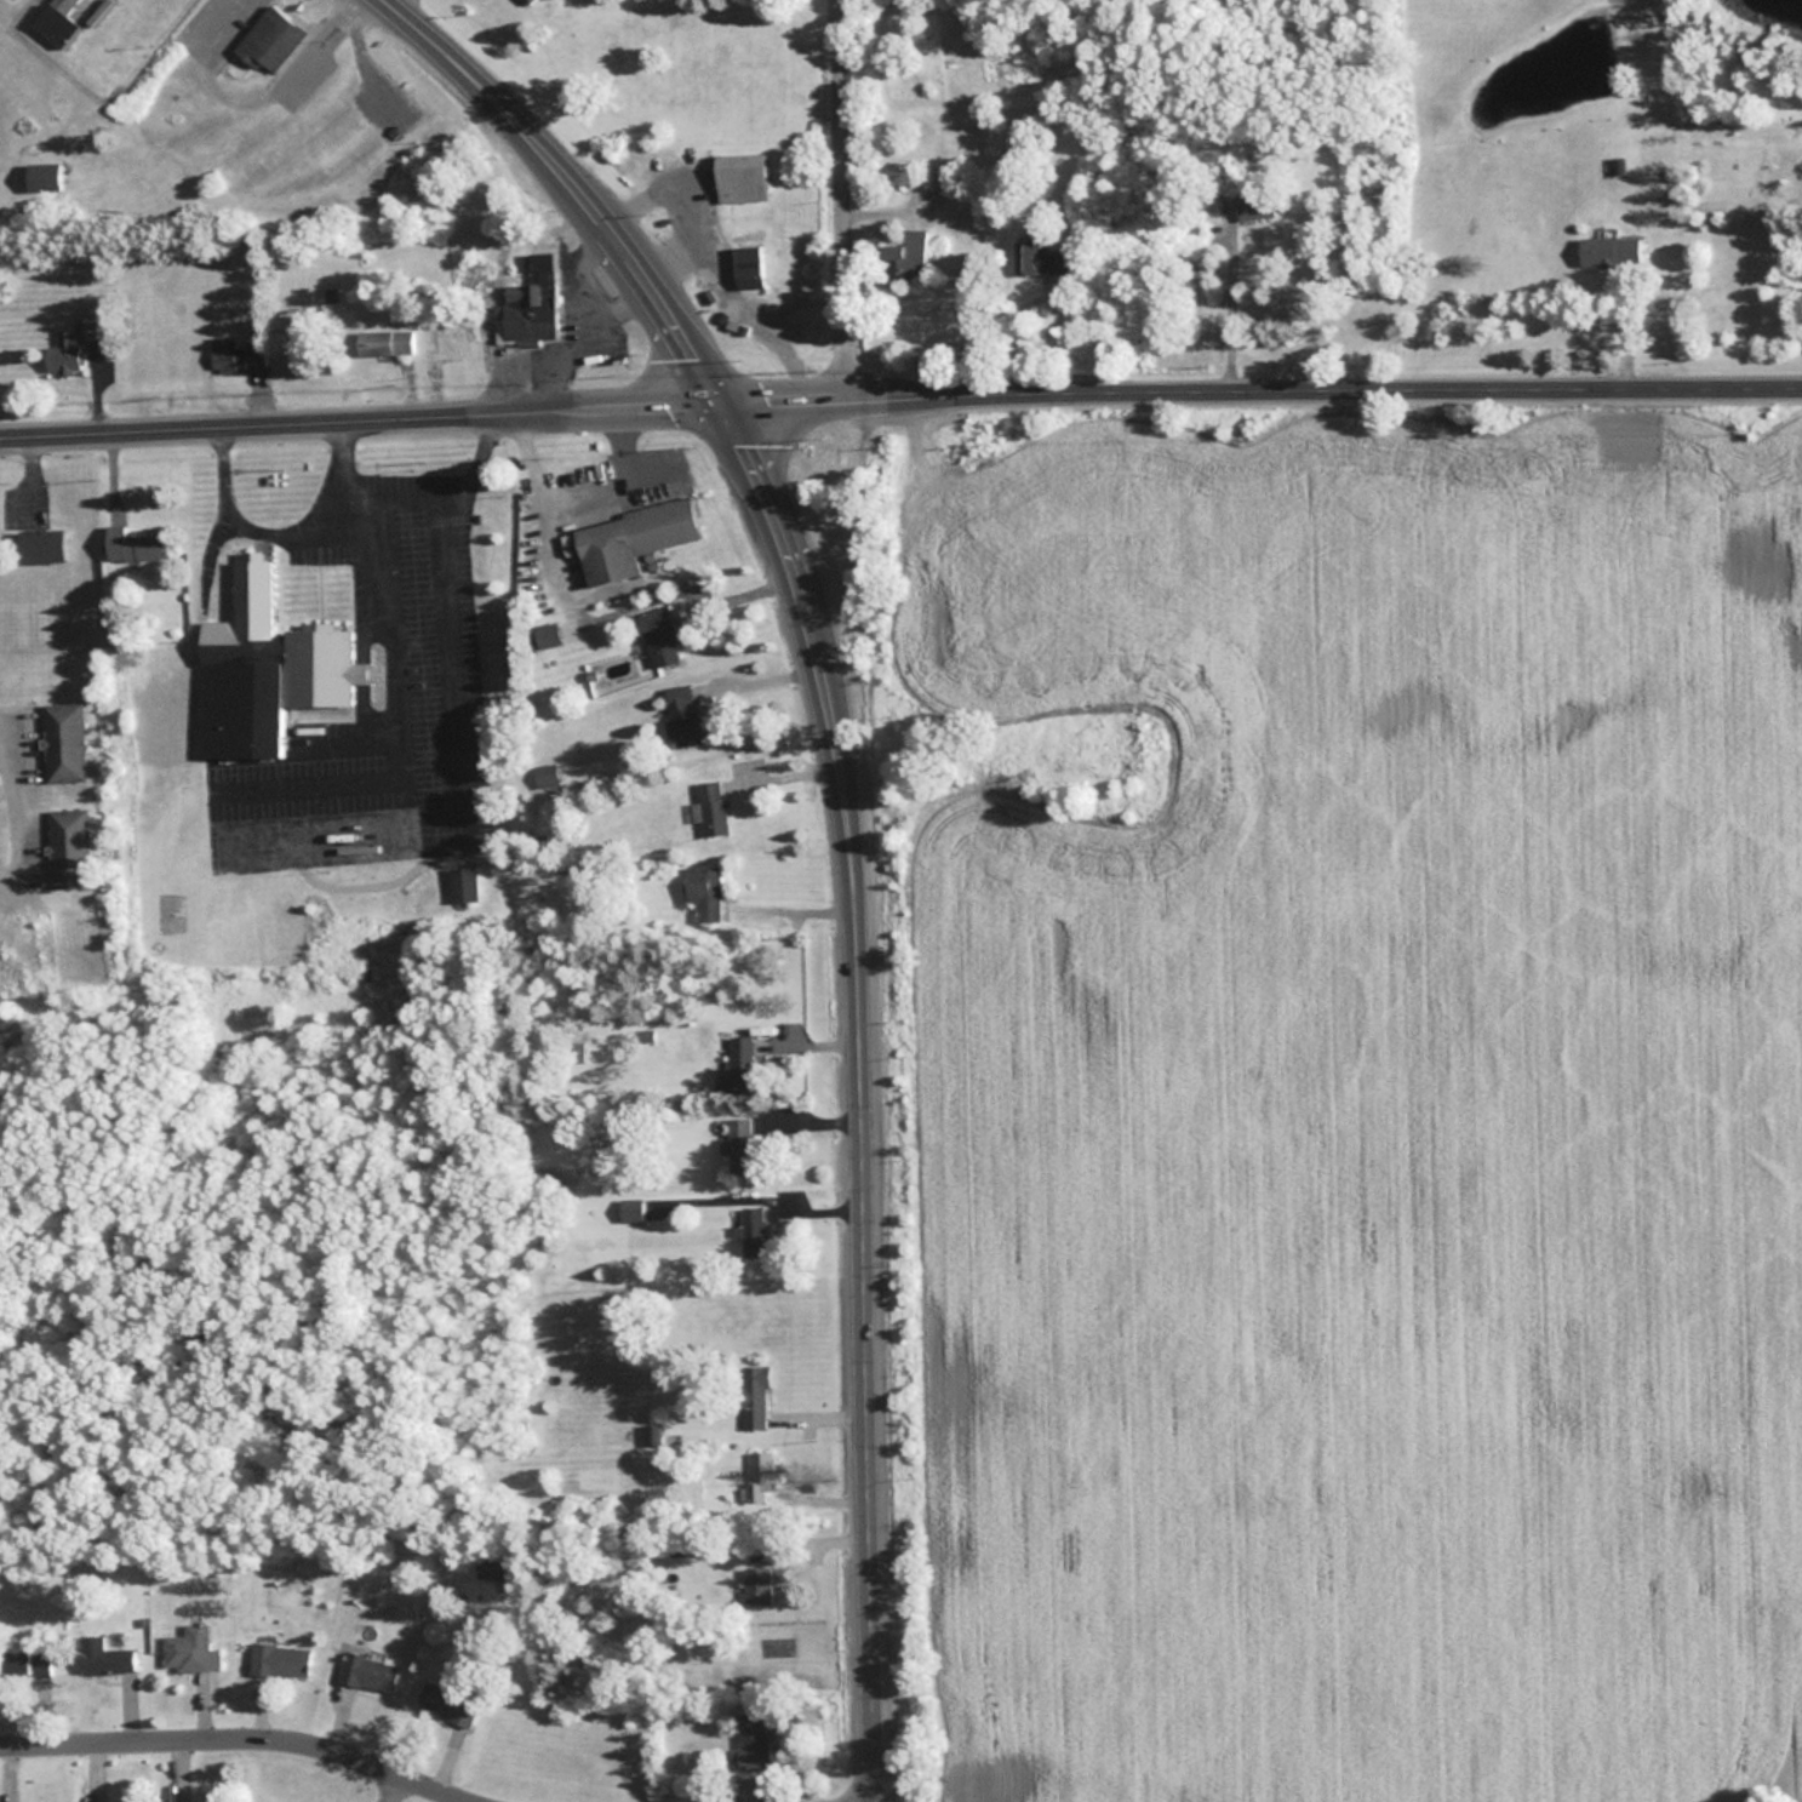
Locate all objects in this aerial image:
building: (527, 1)
building: (55, 21)
building: (268, 38)
road: (248, 93)
building: (40, 175)
building: (932, 175)
building: (740, 176)
road: (847, 194)
building: (1253, 204)
building: (1608, 251)
building: (905, 253)
building: (1040, 257)
building: (528, 302)
building: (384, 342)
building: (69, 345)
building: (235, 353)
road: (899, 387)
road: (444, 498)
road: (282, 531)
building: (630, 538)
building: (130, 544)
building: (40, 545)
building: (545, 634)
building: (657, 635)
building: (263, 670)
building: (681, 714)
building: (301, 736)
building: (62, 742)
building: (544, 776)
building: (711, 807)
road: (854, 828)
road: (434, 834)
building: (67, 847)
building: (462, 882)
building: (700, 892)
building: (734, 1065)
building: (736, 1143)
building: (642, 1207)
building: (751, 1229)
building: (751, 1395)
building: (652, 1432)
building: (760, 1475)
building: (491, 1562)
building: (754, 1584)
building: (189, 1648)
building: (102, 1654)
building: (278, 1659)
building: (27, 1660)
building: (367, 1671)
building: (446, 1701)
road: (253, 1733)
building: (750, 1740)
road: (388, 1785)
road: (863, 1800)

